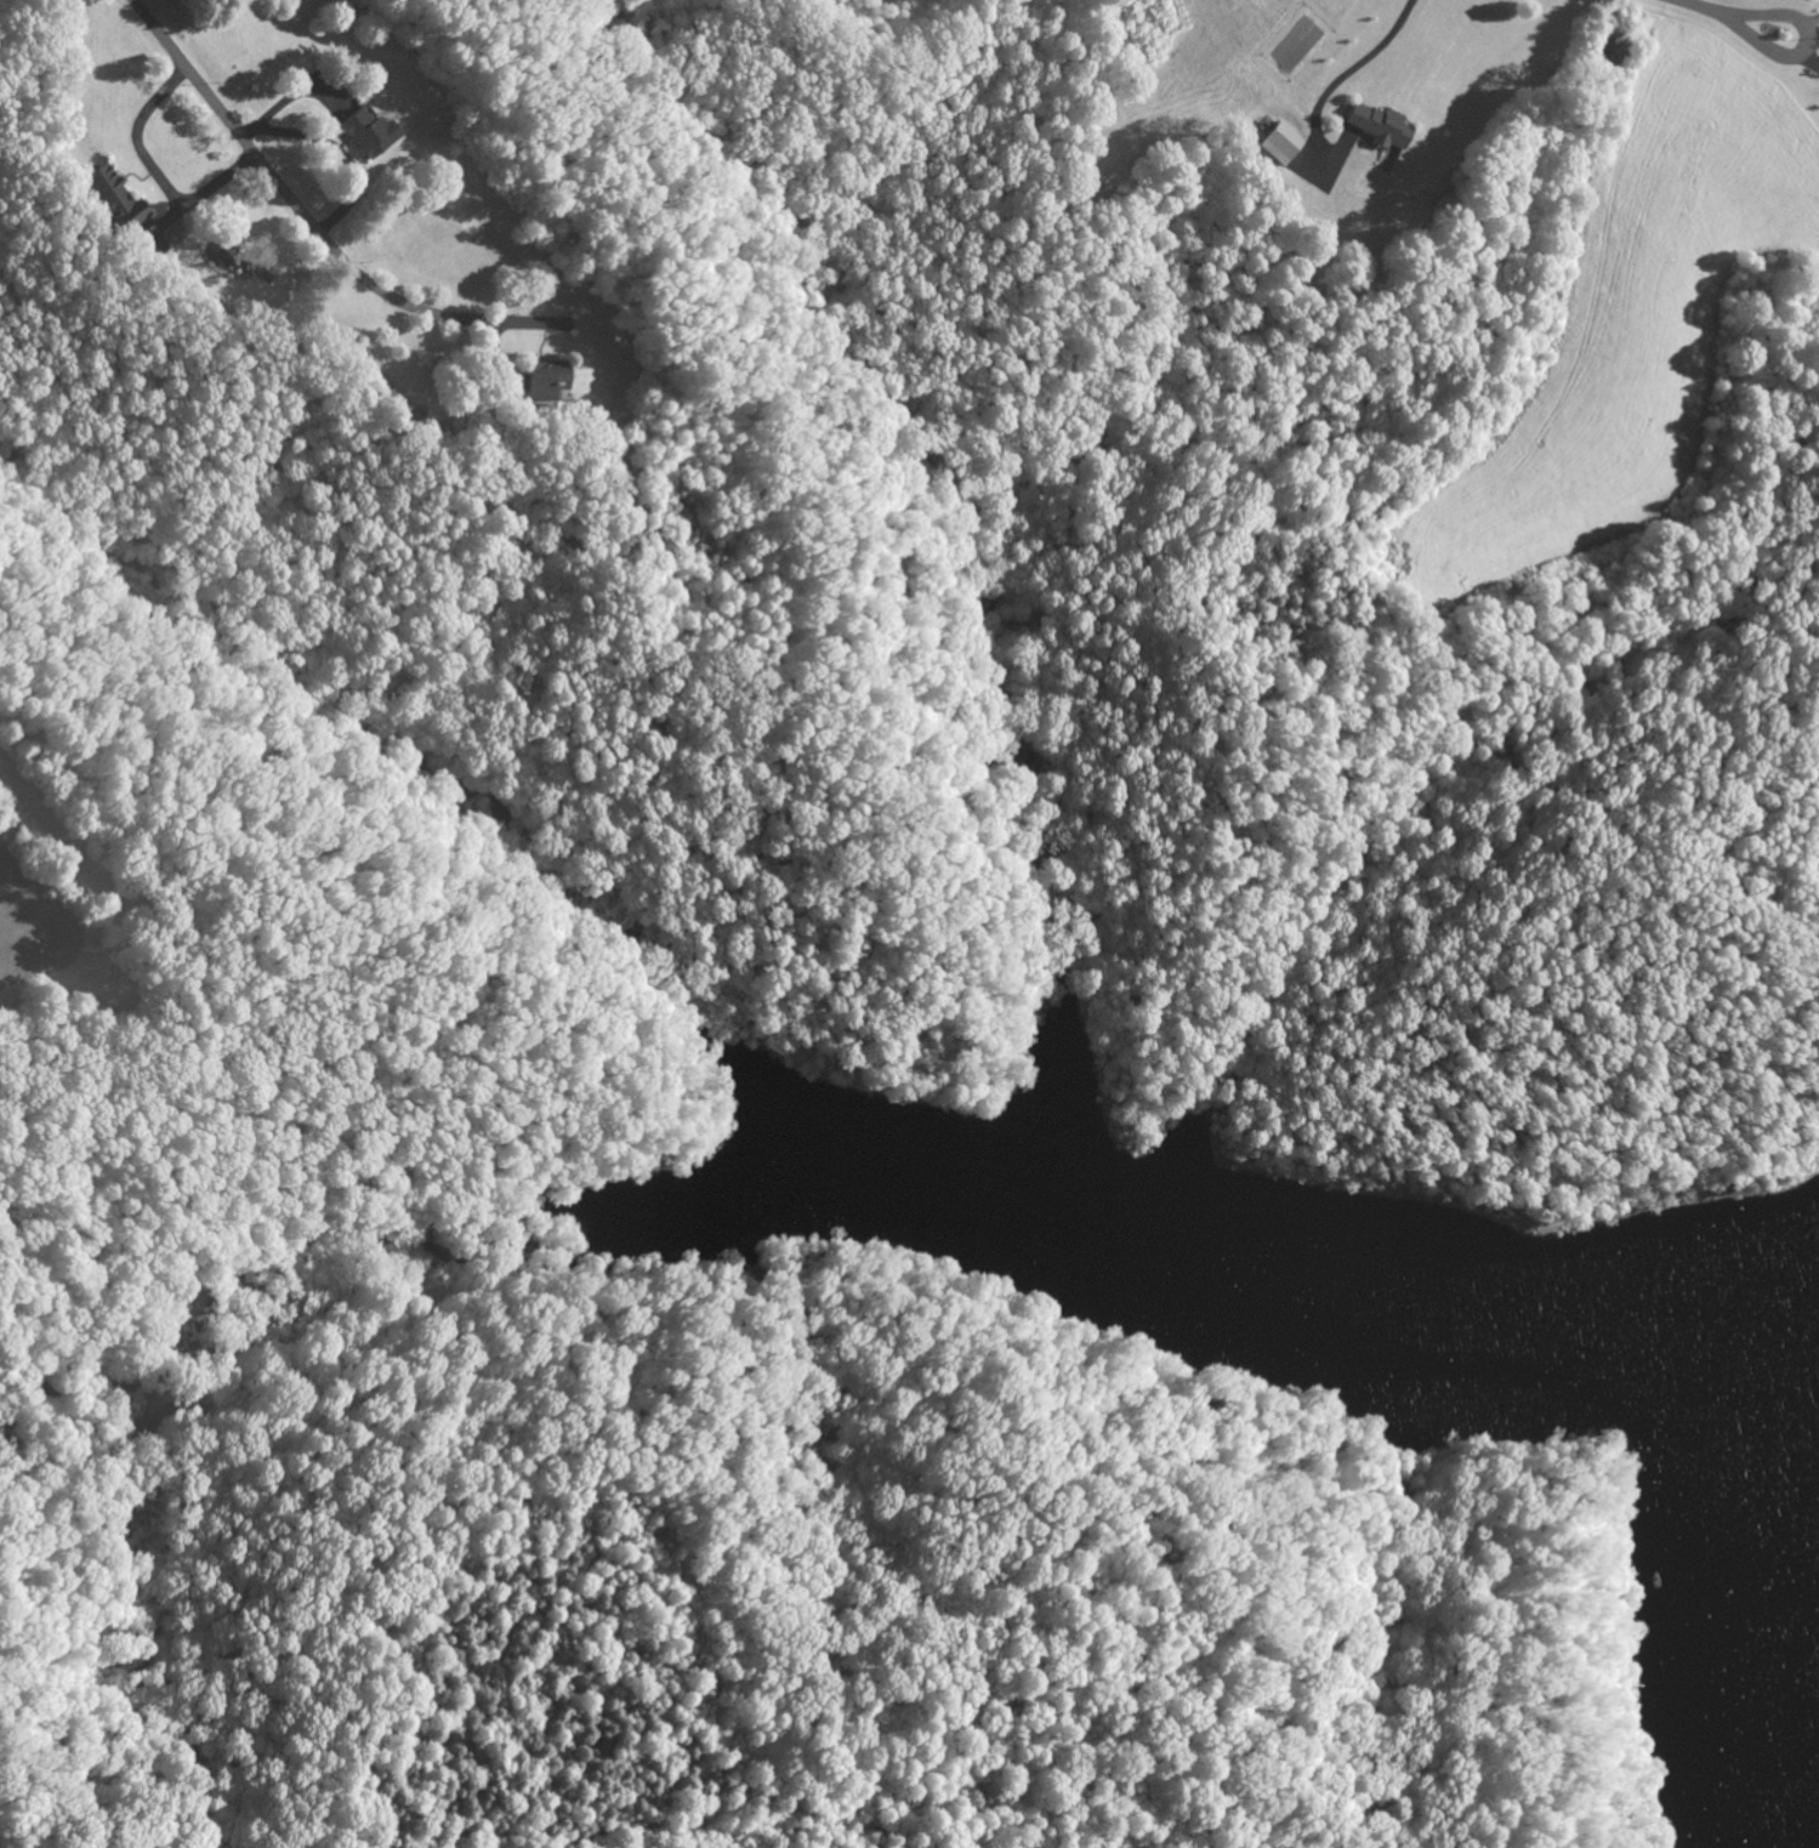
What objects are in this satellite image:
road: (1701, 8)
road: (1774, 49)
building: (1376, 124)
building: (370, 131)
building: (1278, 141)
building: (115, 195)
road: (305, 211)
building: (544, 379)
park: (950, 1598)

